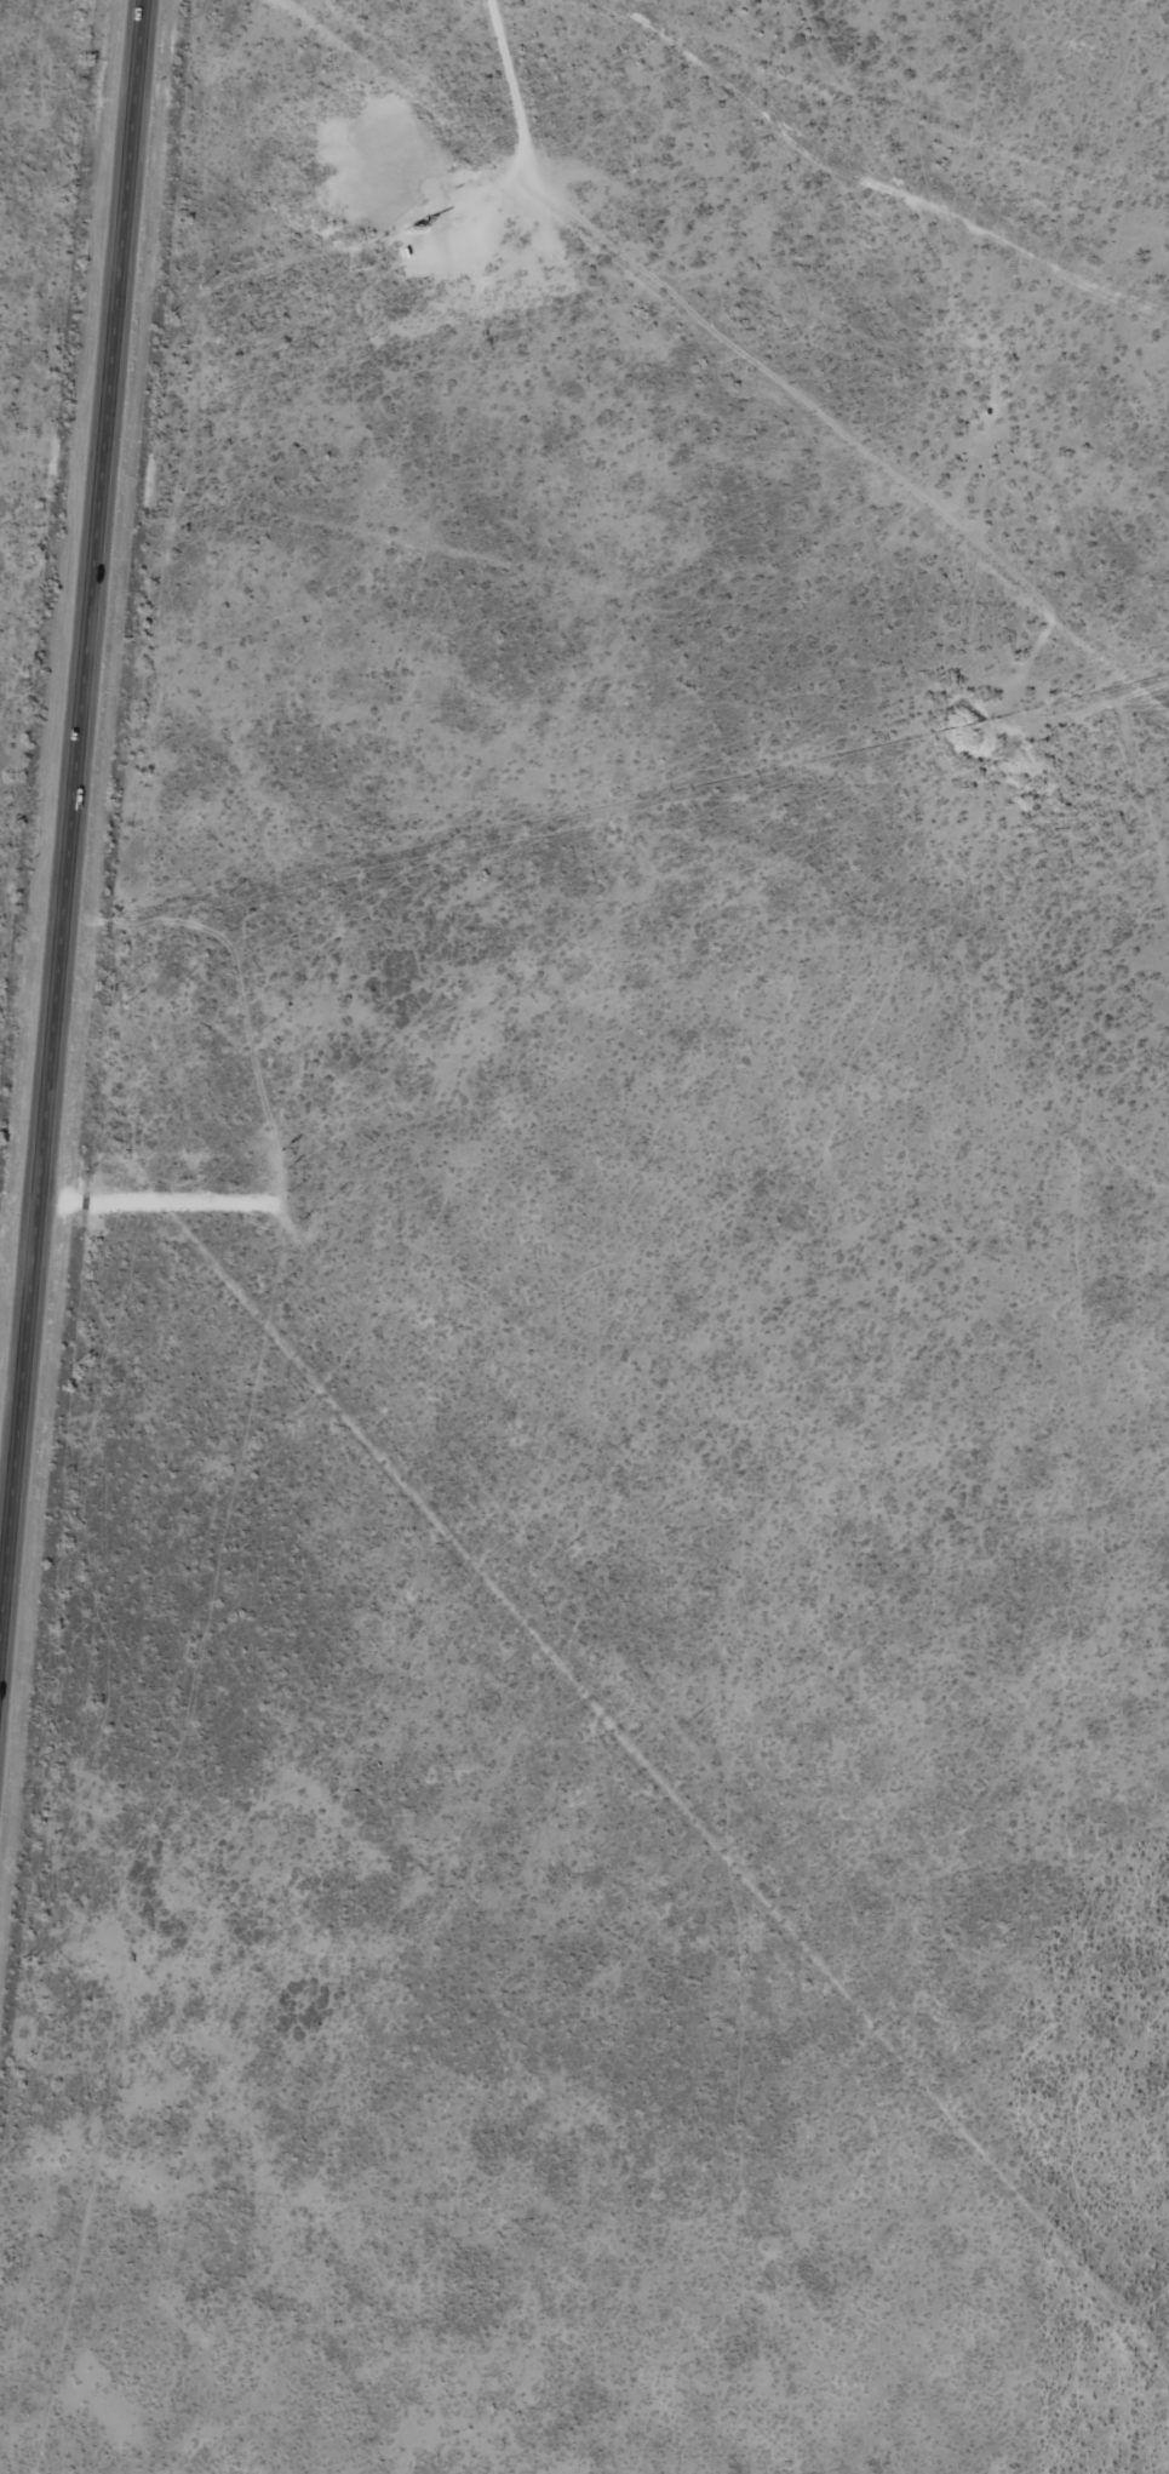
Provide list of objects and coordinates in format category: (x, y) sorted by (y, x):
road: (73, 824)

